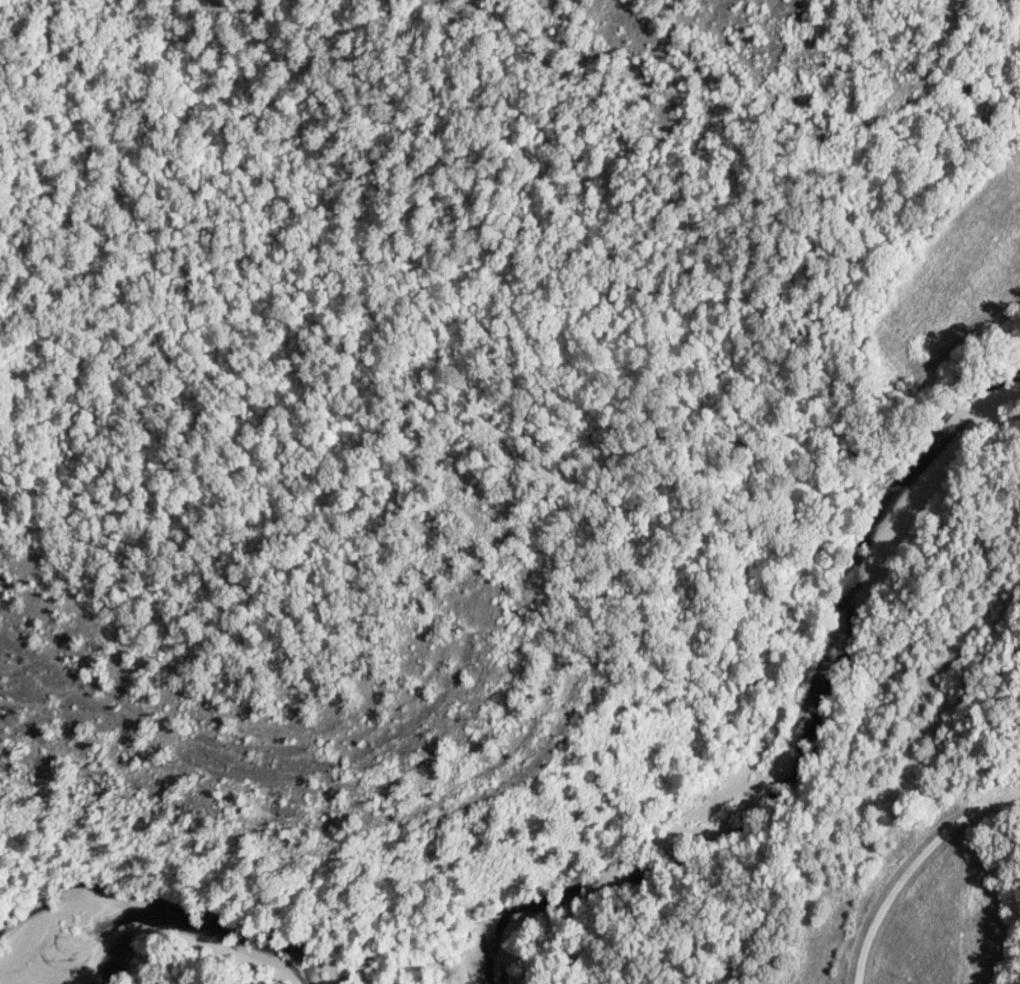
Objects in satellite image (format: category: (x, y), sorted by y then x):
road: (916, 867)

